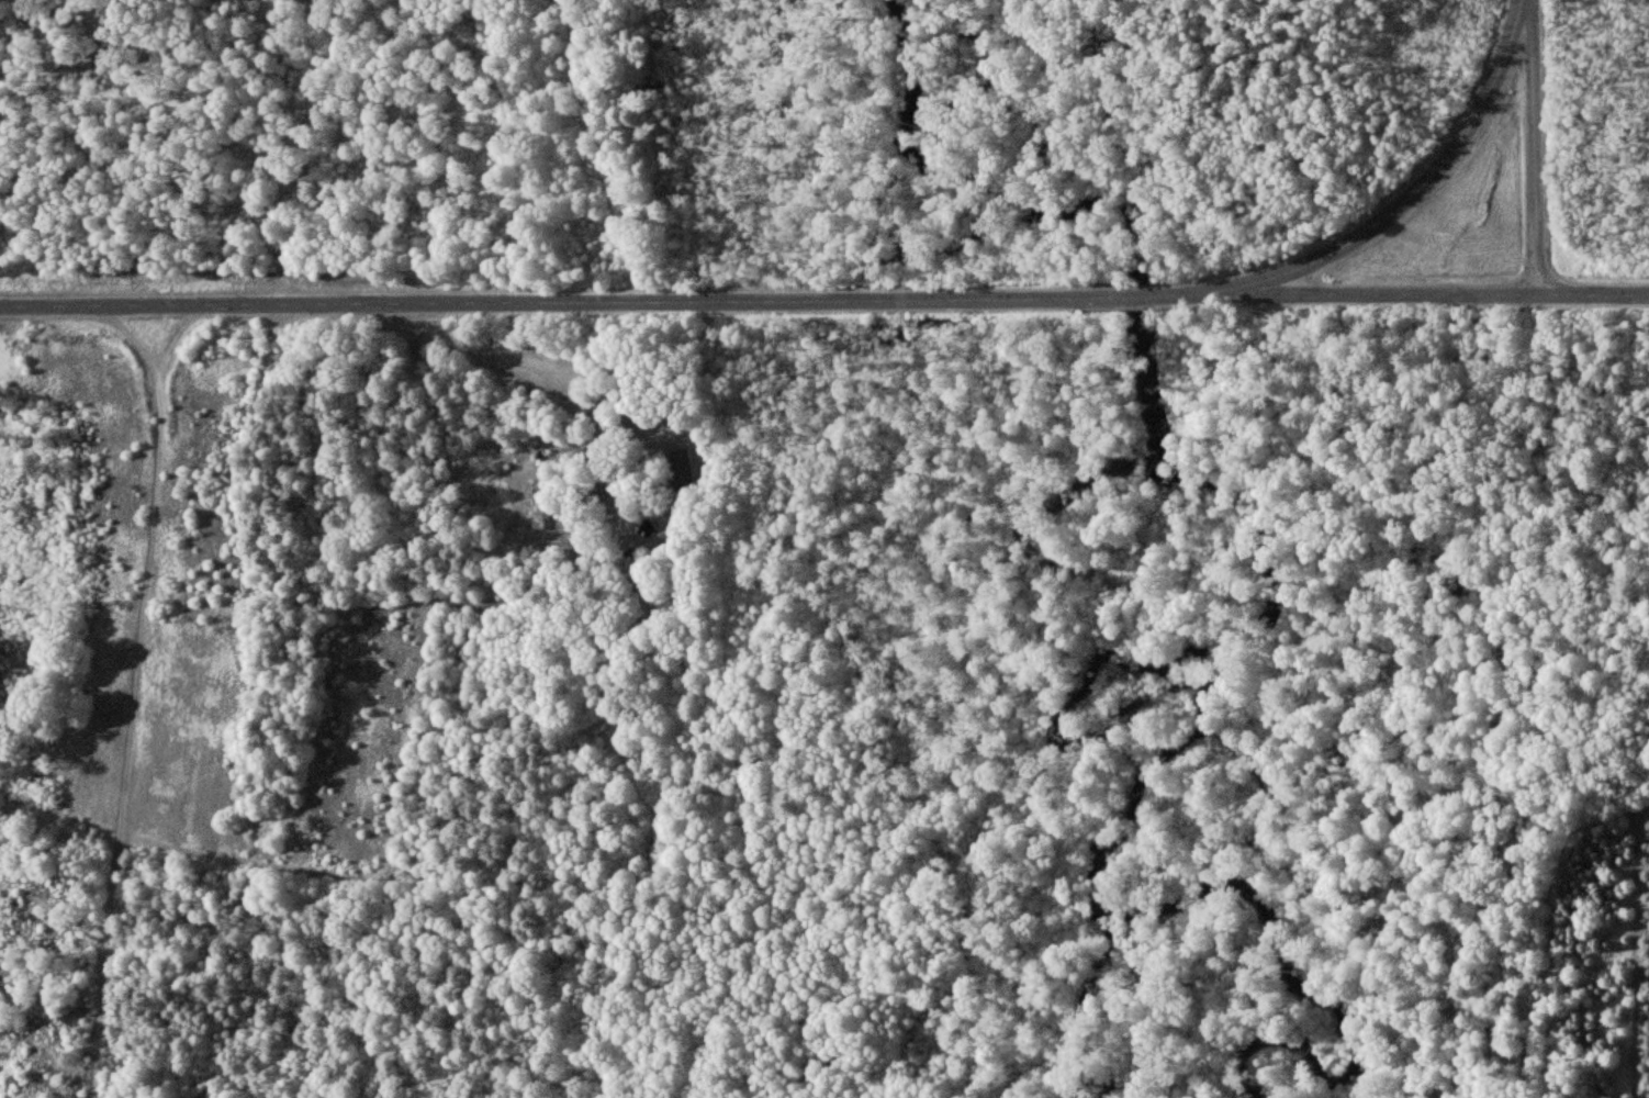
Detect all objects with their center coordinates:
road: (1534, 148)
road: (1406, 200)
road: (1422, 295)
road: (597, 302)
road: (550, 381)
building: (680, 466)
road: (135, 693)

